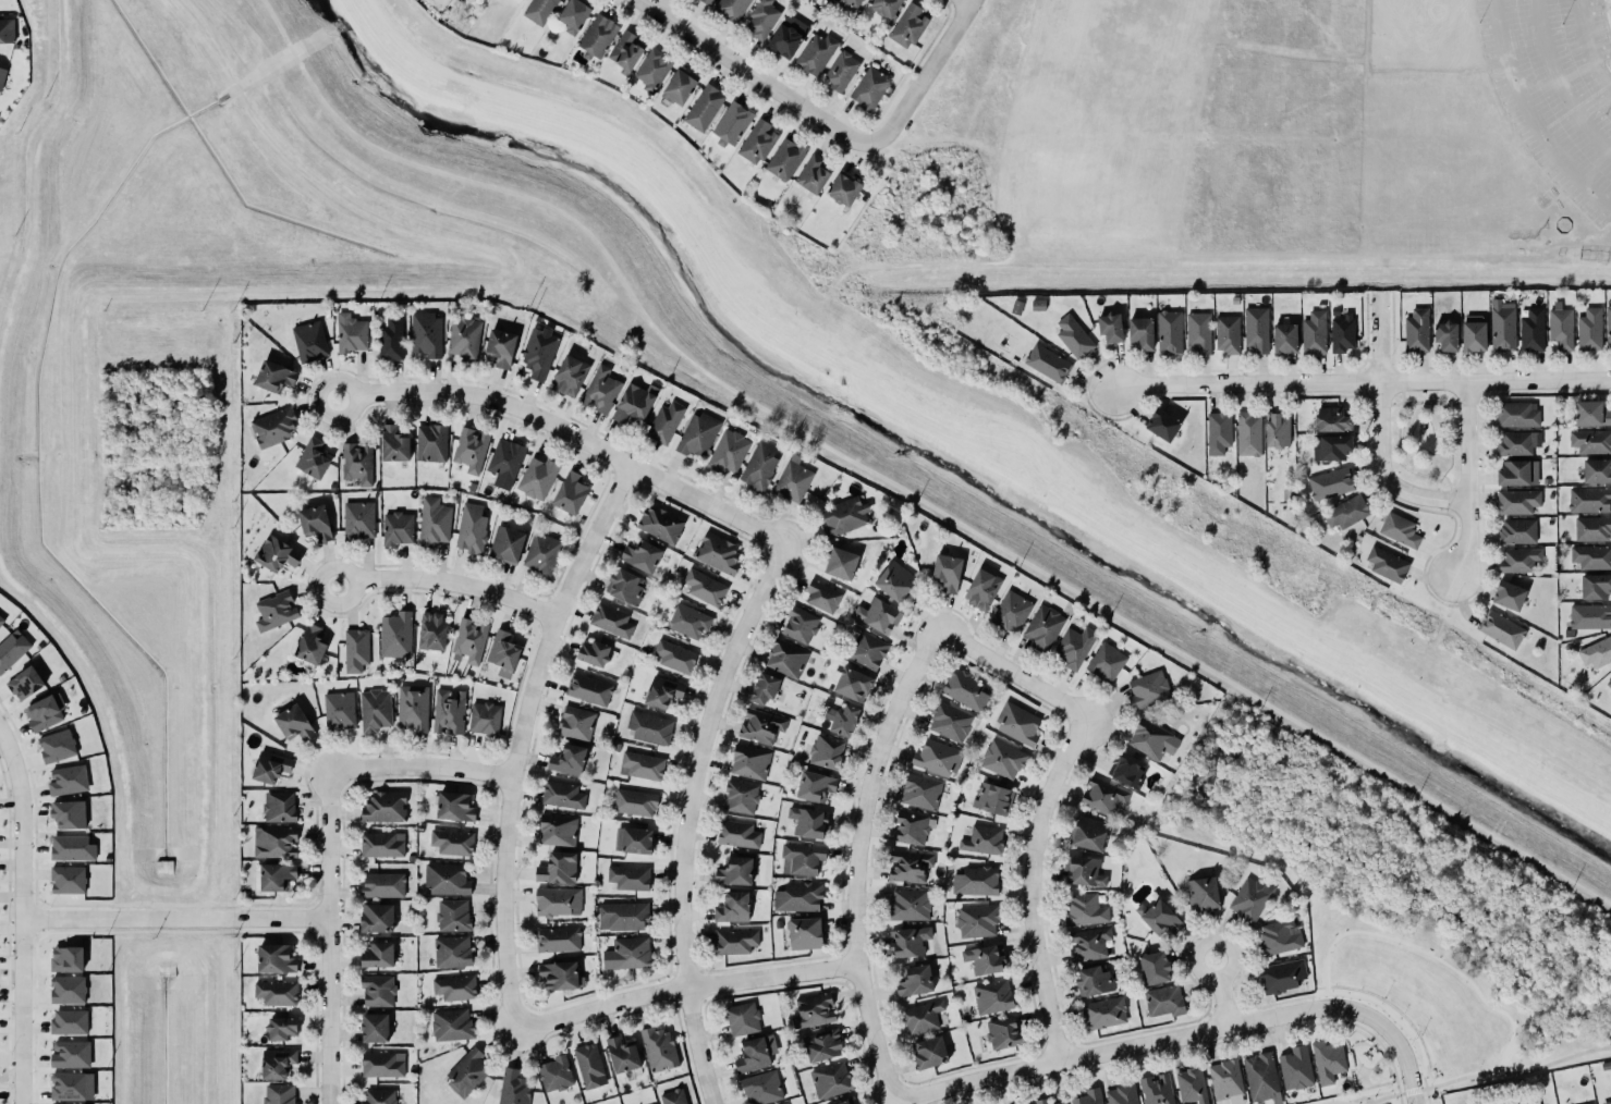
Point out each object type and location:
road: (967, 0)
building: (703, 1)
building: (849, 2)
building: (883, 7)
building: (731, 10)
building: (537, 11)
building: (572, 15)
building: (761, 19)
building: (907, 26)
building: (5, 33)
building: (597, 35)
road: (1468, 35)
building: (788, 36)
road: (1425, 36)
road: (1383, 37)
road: (1588, 47)
building: (625, 51)
building: (815, 51)
building: (652, 70)
building: (841, 71)
road: (923, 74)
road: (753, 75)
building: (2, 76)
road: (1559, 84)
building: (678, 87)
building: (869, 88)
road: (1610, 88)
building: (703, 107)
road: (1529, 119)
building: (731, 123)
building: (756, 142)
building: (785, 159)
building: (813, 174)
building: (844, 189)
building: (1037, 304)
building: (1015, 306)
building: (1501, 322)
building: (1557, 322)
building: (1109, 324)
building: (1588, 326)
building: (1140, 327)
building: (1253, 327)
building: (1339, 327)
building: (1414, 327)
building: (1527, 327)
building: (1608, 327)
building: (1311, 329)
building: (349, 331)
building: (1198, 331)
building: (1470, 331)
building: (1169, 332)
building: (1444, 332)
building: (426, 334)
building: (1226, 334)
building: (1072, 335)
building: (1283, 335)
building: (390, 338)
building: (464, 338)
building: (309, 341)
building: (501, 347)
building: (539, 352)
building: (1046, 361)
building: (569, 373)
building: (272, 375)
road: (1359, 383)
building: (601, 390)
building: (633, 401)
road: (1433, 401)
road: (1399, 404)
building: (1589, 407)
building: (1516, 414)
building: (1331, 417)
building: (1158, 418)
building: (663, 420)
building: (1274, 426)
building: (274, 427)
road: (1378, 429)
building: (1246, 430)
road: (567, 432)
building: (1217, 432)
building: (697, 434)
park: (1423, 437)
building: (1590, 439)
building: (429, 441)
building: (392, 442)
building: (1513, 442)
building: (1330, 445)
building: (468, 449)
building: (729, 451)
building: (503, 457)
building: (313, 458)
building: (357, 463)
road: (1407, 463)
building: (758, 464)
building: (1595, 467)
building: (1517, 473)
building: (537, 478)
building: (793, 479)
road: (1465, 481)
building: (1331, 483)
building: (569, 491)
building: (1286, 494)
building: (1586, 498)
building: (1516, 499)
building: (1345, 507)
building: (842, 516)
building: (356, 518)
building: (431, 520)
building: (315, 522)
building: (661, 524)
building: (469, 527)
building: (398, 528)
building: (1399, 528)
building: (1592, 528)
building: (1517, 531)
building: (504, 542)
building: (540, 551)
building: (718, 553)
building: (277, 554)
building: (640, 554)
building: (1591, 556)
building: (1384, 559)
building: (1518, 560)
building: (842, 563)
building: (947, 572)
building: (893, 580)
road: (449, 582)
building: (1594, 584)
building: (625, 586)
building: (701, 586)
building: (981, 589)
building: (1509, 594)
building: (822, 597)
building: (273, 610)
building: (1011, 612)
building: (1589, 614)
building: (878, 615)
building: (1, 621)
building: (611, 621)
building: (688, 621)
building: (801, 625)
building: (1041, 626)
building: (430, 629)
building: (1502, 629)
building: (394, 634)
building: (468, 638)
building: (308, 643)
building: (1074, 646)
building: (866, 648)
building: (12, 649)
building: (355, 650)
building: (1595, 650)
building: (501, 651)
building: (594, 653)
building: (673, 654)
building: (784, 657)
building: (1104, 661)
road: (1018, 678)
building: (1608, 682)
building: (25, 683)
building: (850, 683)
building: (762, 686)
building: (587, 688)
building: (1146, 688)
building: (661, 689)
building: (965, 689)
building: (411, 706)
building: (339, 710)
building: (375, 710)
building: (45, 711)
building: (449, 711)
building: (483, 716)
building: (843, 720)
building: (292, 721)
building: (1016, 722)
building: (576, 723)
road: (1494, 723)
building: (760, 725)
building: (648, 726)
road: (515, 738)
building: (1152, 739)
building: (57, 746)
building: (826, 752)
building: (936, 756)
road: (699, 757)
building: (1002, 757)
building: (567, 760)
building: (750, 762)
building: (642, 763)
road: (417, 764)
building: (269, 766)
building: (1127, 770)
building: (69, 780)
building: (814, 783)
building: (922, 792)
building: (561, 793)
building: (740, 795)
building: (1100, 796)
building: (991, 797)
building: (634, 802)
building: (278, 806)
building: (453, 806)
building: (385, 807)
building: (68, 811)
building: (808, 822)
building: (556, 829)
building: (913, 829)
building: (735, 832)
building: (1087, 832)
building: (981, 838)
building: (633, 839)
building: (450, 841)
building: (274, 842)
building: (380, 844)
building: (70, 846)
building: (802, 859)
road: (856, 862)
building: (907, 864)
building: (558, 868)
building: (735, 871)
building: (1084, 872)
building: (276, 876)
building: (66, 878)
building: (628, 878)
building: (443, 879)
building: (976, 881)
building: (382, 885)
road: (1034, 890)
building: (1201, 892)
building: (798, 897)
building: (1250, 899)
building: (558, 901)
building: (908, 905)
building: (733, 907)
building: (1085, 910)
building: (623, 913)
road: (22, 915)
building: (453, 915)
building: (374, 916)
building: (1158, 917)
road: (175, 919)
building: (977, 921)
building: (805, 933)
building: (1279, 935)
road: (330, 936)
building: (558, 939)
building: (736, 941)
building: (908, 941)
building: (1088, 944)
building: (630, 950)
building: (452, 952)
building: (376, 954)
building: (273, 956)
building: (983, 957)
building: (66, 958)
building: (1152, 966)
building: (559, 972)
building: (1283, 976)
building: (1091, 980)
building: (915, 981)
road: (683, 984)
building: (454, 986)
building: (68, 989)
building: (276, 991)
building: (378, 991)
road: (1223, 991)
building: (990, 995)
park: (1427, 997)
building: (1162, 999)
building: (814, 1010)
building: (1104, 1013)
building: (923, 1016)
building: (743, 1018)
building: (70, 1021)
building: (452, 1025)
road: (1359, 1026)
building: (281, 1028)
building: (375, 1028)
building: (1001, 1031)
road: (1372, 1041)
road: (1362, 1042)
road: (701, 1043)
building: (820, 1043)
road: (1160, 1043)
building: (657, 1047)
building: (929, 1052)
building: (70, 1054)
building: (622, 1054)
building: (752, 1055)
building: (1326, 1059)
building: (277, 1062)
building: (587, 1063)
building: (382, 1064)
road: (1390, 1064)
building: (1295, 1068)
park: (1366, 1068)
road: (1405, 1068)
building: (467, 1071)
building: (553, 1072)
road: (1518, 1072)
building: (1261, 1078)
building: (830, 1080)
building: (1226, 1081)
road: (1423, 1081)
building: (1191, 1084)
building: (72, 1085)
building: (759, 1087)
building: (514, 1088)
road: (1423, 1088)
building: (1157, 1089)
road: (1411, 1090)
building: (1121, 1093)
building: (279, 1094)
road: (1426, 1095)
building: (379, 1096)
building: (672, 1096)
building: (1086, 1096)
road: (1381, 1096)
road: (1398, 1099)
building: (1041, 1101)
building: (846, 1102)
building: (1021, 1102)
road: (1332, 1102)
building: (780, 1103)
building: (785, 1103)
building: (1061, 1103)
building: (1591, 1103)
building: (1607, 1103)

